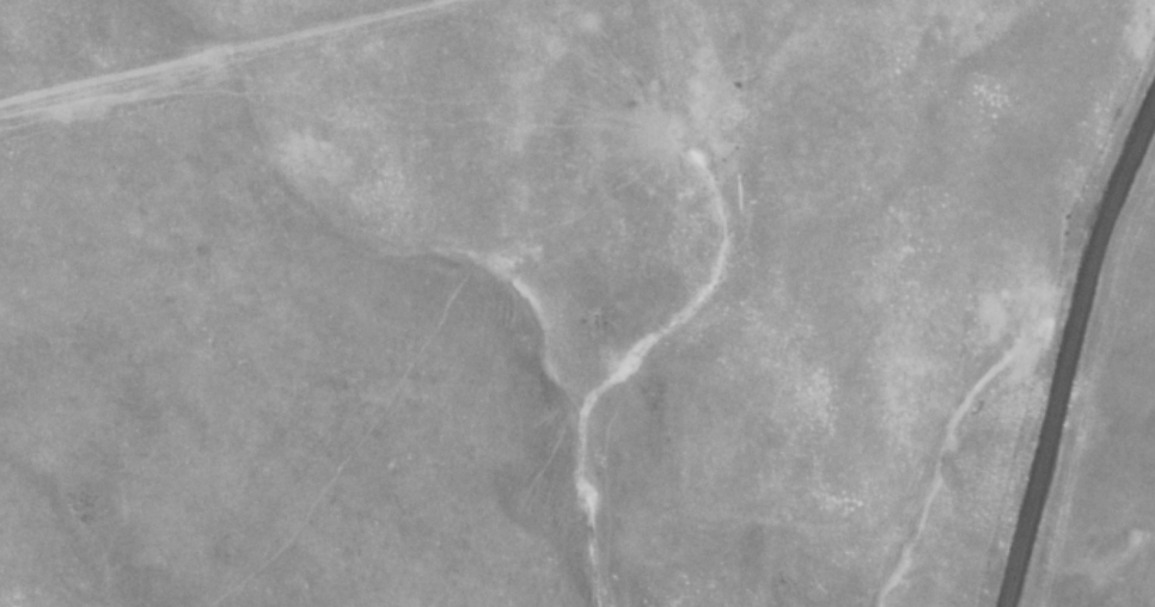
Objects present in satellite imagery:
road: (245, 61)
road: (1070, 345)

